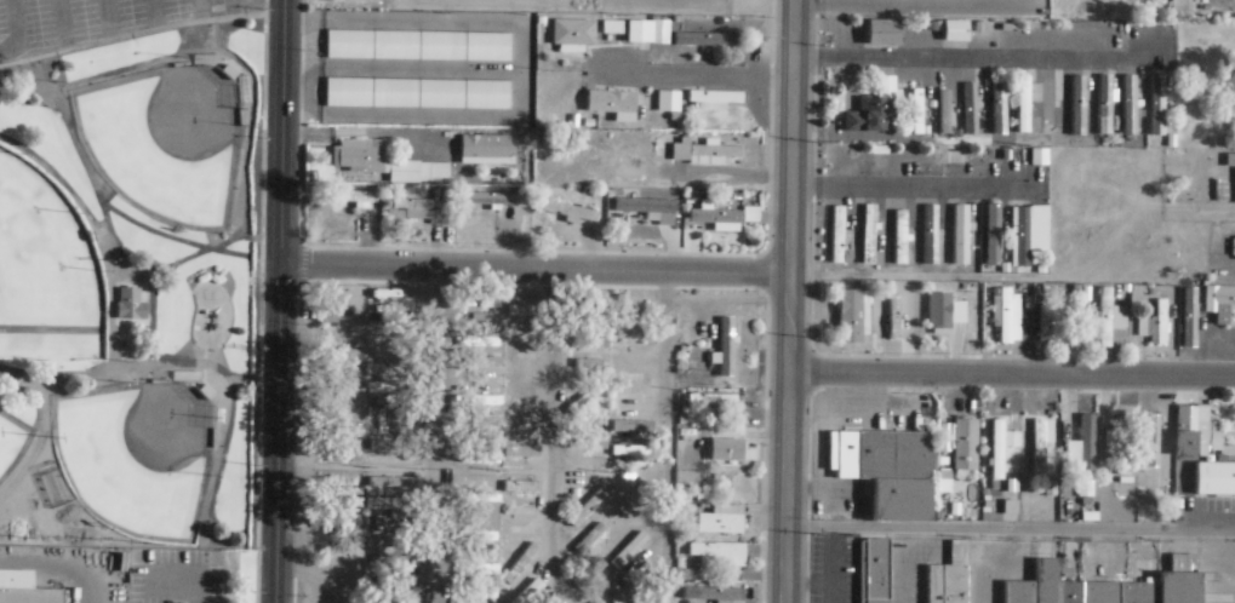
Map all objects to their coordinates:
road: (909, 7)
building: (1178, 8)
parking lot: (95, 19)
building: (612, 28)
building: (956, 31)
building: (884, 33)
building: (640, 34)
building: (573, 35)
building: (722, 39)
building: (698, 41)
building: (417, 46)
road: (701, 79)
building: (416, 94)
building: (715, 98)
building: (1104, 98)
building: (1161, 99)
building: (669, 102)
building: (613, 104)
building: (1024, 105)
building: (1131, 105)
building: (972, 107)
building: (1079, 107)
building: (1051, 108)
building: (1000, 109)
building: (917, 111)
building: (945, 113)
building: (871, 116)
building: (957, 120)
building: (1233, 130)
building: (926, 131)
park: (170, 138)
building: (1230, 143)
building: (482, 150)
building: (694, 150)
building: (361, 154)
building: (1230, 161)
building: (408, 172)
building: (350, 197)
building: (486, 199)
building: (412, 205)
building: (570, 206)
building: (639, 208)
building: (566, 212)
building: (713, 217)
building: (839, 234)
building: (869, 234)
building: (932, 235)
building: (899, 239)
building: (962, 239)
building: (993, 241)
building: (1024, 241)
building: (1234, 248)
park: (42, 259)
road: (533, 270)
building: (1040, 270)
park: (131, 299)
road: (278, 301)
road: (788, 301)
building: (1219, 304)
building: (128, 306)
building: (481, 306)
building: (393, 310)
building: (524, 311)
building: (623, 316)
building: (1008, 316)
building: (853, 317)
building: (894, 317)
building: (940, 317)
building: (1110, 318)
building: (342, 320)
building: (1188, 320)
building: (1052, 325)
building: (1160, 326)
building: (384, 331)
building: (525, 340)
building: (476, 343)
building: (590, 344)
building: (395, 349)
building: (634, 350)
building: (727, 352)
building: (343, 355)
building: (482, 362)
building: (589, 364)
building: (383, 369)
building: (634, 372)
road: (1011, 375)
building: (394, 389)
building: (342, 394)
building: (588, 397)
building: (713, 400)
building: (485, 401)
building: (628, 401)
building: (391, 414)
building: (629, 429)
building: (1189, 430)
building: (342, 433)
road: (435, 436)
road: (556, 437)
road: (661, 437)
building: (487, 440)
park: (12, 442)
building: (1039, 444)
building: (588, 446)
building: (962, 446)
building: (389, 447)
building: (1123, 448)
building: (1080, 449)
building: (730, 450)
building: (1000, 450)
building: (630, 452)
park: (139, 453)
building: (522, 453)
building: (1153, 453)
building: (343, 456)
building: (481, 460)
building: (886, 471)
building: (691, 478)
building: (1127, 481)
building: (391, 483)
building: (1013, 487)
building: (521, 488)
building: (1052, 490)
building: (1087, 490)
building: (344, 493)
building: (481, 499)
building: (390, 505)
building: (588, 509)
building: (1012, 509)
building: (630, 517)
building: (722, 521)
building: (342, 524)
building: (519, 527)
building: (478, 538)
building: (590, 539)
building: (385, 545)
building: (631, 545)
building: (342, 552)
building: (719, 556)
building: (388, 564)
building: (521, 564)
building: (479, 572)
building: (871, 572)
building: (590, 575)
building: (630, 578)
building: (947, 578)
building: (389, 584)
building: (1107, 586)
building: (23, 588)
building: (531, 592)
building: (479, 595)
building: (341, 596)
building: (721, 596)
building: (598, 602)

